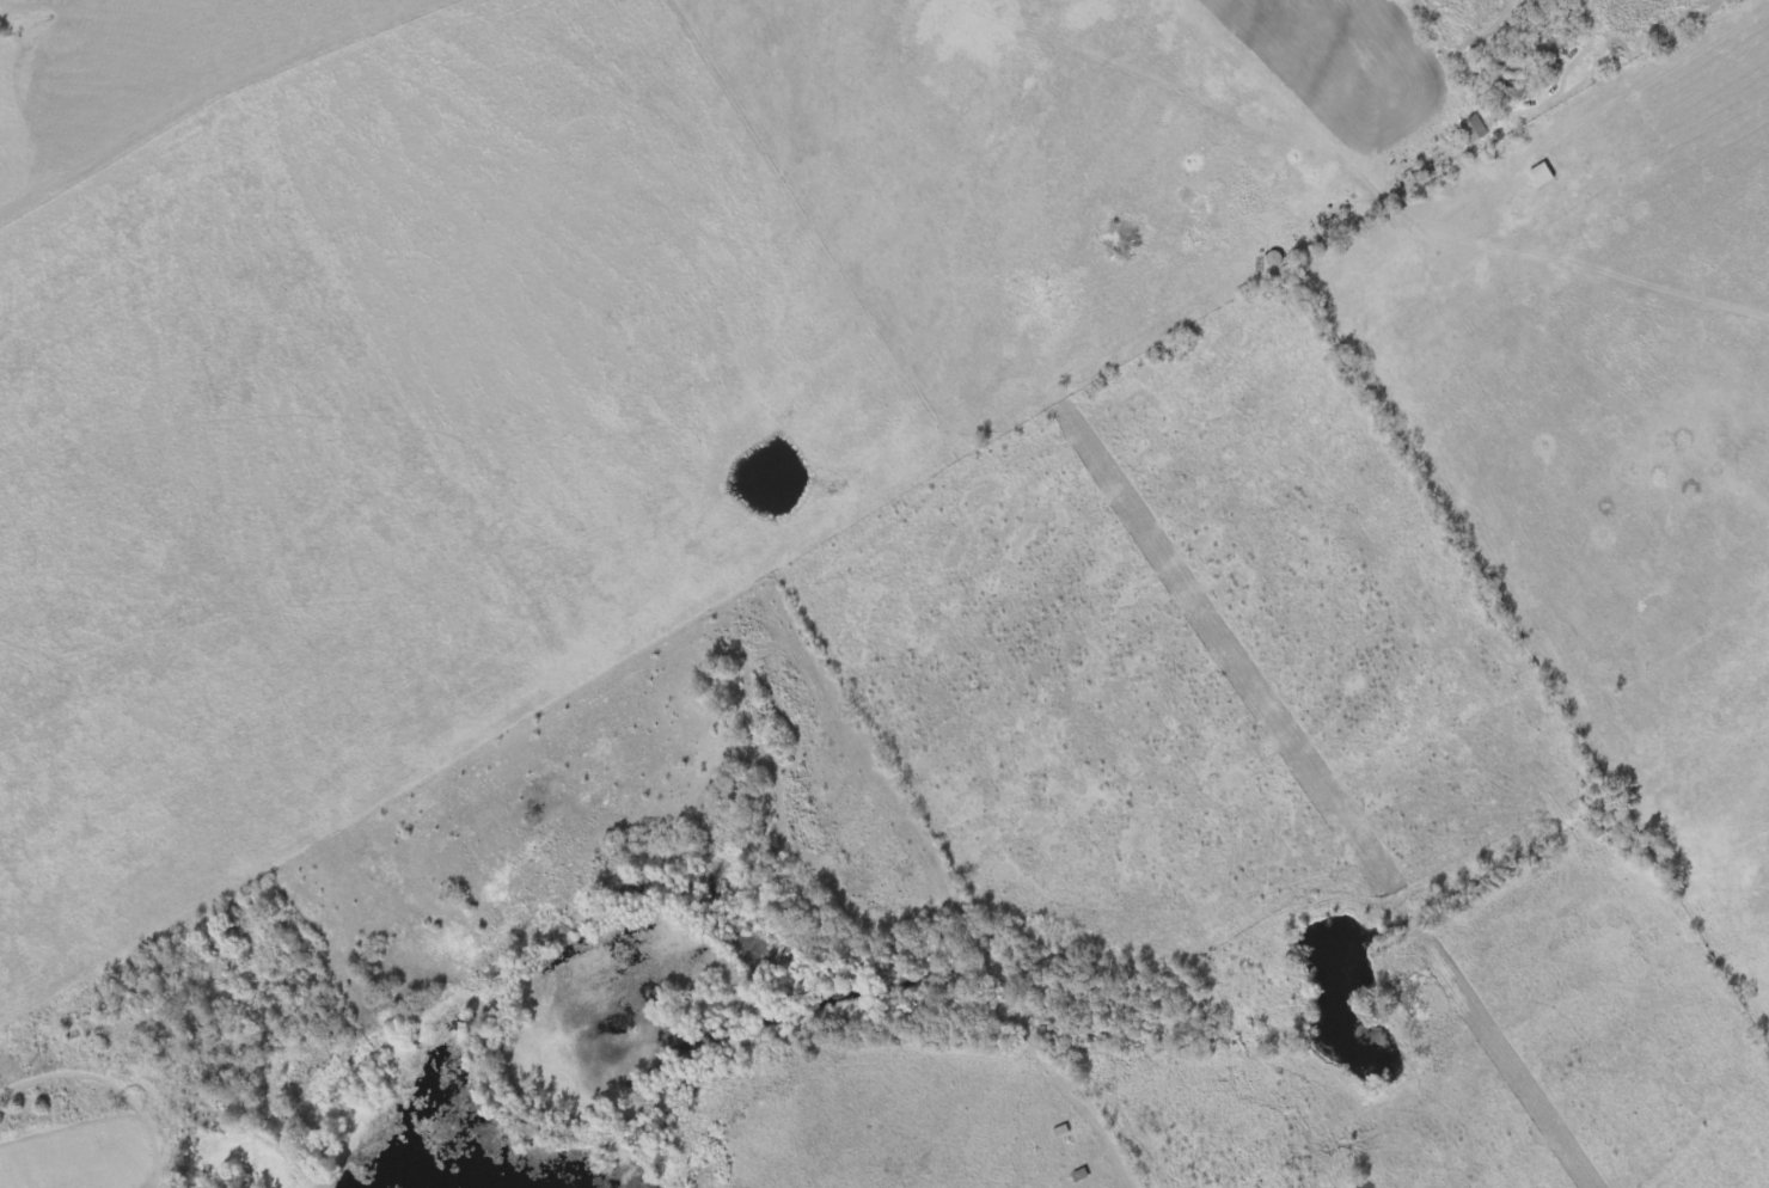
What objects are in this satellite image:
building: (1511, 90)
building: (1469, 130)
building: (1541, 176)

